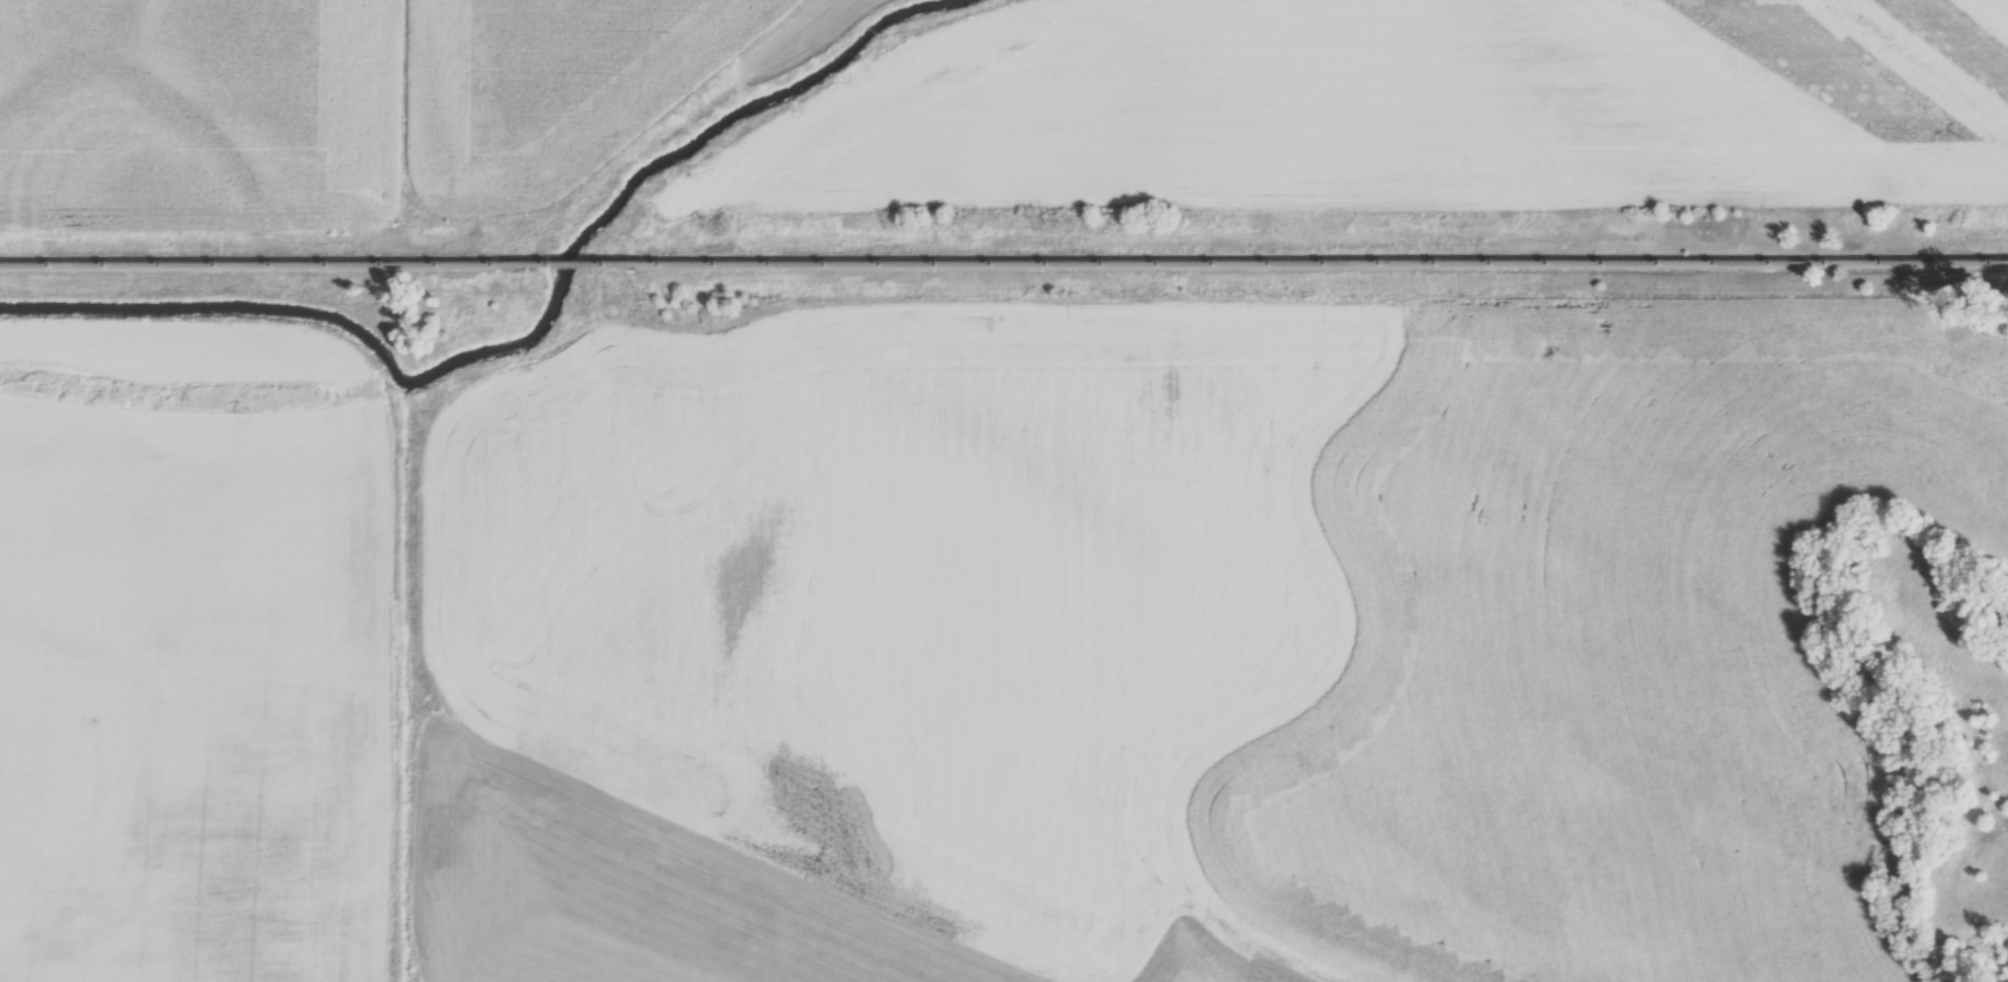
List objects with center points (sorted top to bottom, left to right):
railway: (249, 263)
railway: (566, 263)
railway: (1320, 263)

